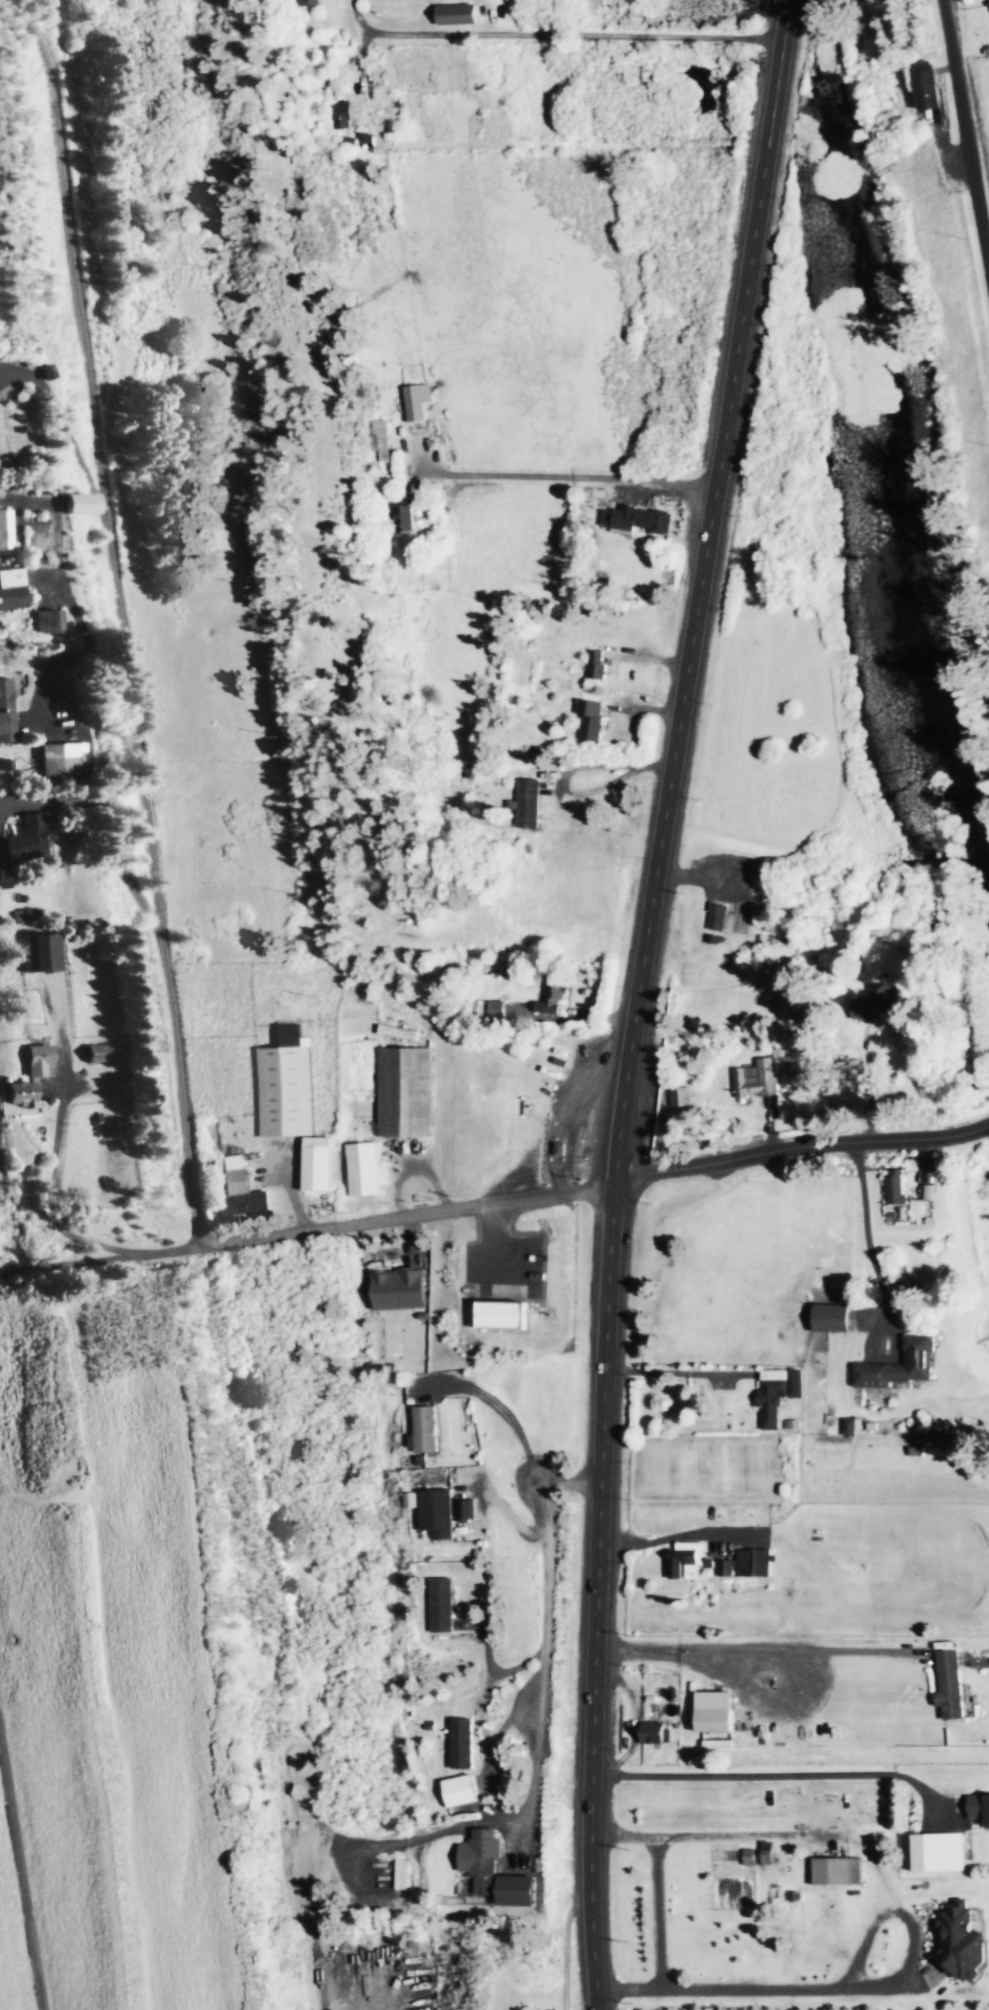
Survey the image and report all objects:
building: (988, 0)
building: (305, 3)
building: (457, 14)
road: (559, 40)
building: (922, 86)
building: (341, 116)
building: (367, 140)
road: (963, 144)
building: (417, 401)
building: (378, 439)
road: (579, 480)
building: (72, 502)
building: (401, 518)
building: (640, 521)
building: (5, 529)
building: (11, 590)
road: (123, 618)
building: (44, 621)
road: (80, 631)
building: (597, 666)
building: (6, 711)
building: (592, 720)
building: (59, 758)
building: (530, 804)
building: (29, 837)
building: (718, 918)
building: (741, 918)
building: (41, 952)
building: (555, 995)
road: (640, 1000)
building: (874, 1004)
building: (94, 1058)
building: (36, 1060)
building: (758, 1079)
building: (284, 1086)
building: (405, 1091)
building: (682, 1097)
building: (15, 1099)
road: (820, 1146)
building: (316, 1168)
building: (364, 1169)
road: (635, 1179)
building: (897, 1187)
building: (238, 1188)
road: (410, 1218)
road: (871, 1246)
road: (100, 1261)
road: (0, 1273)
building: (400, 1289)
building: (508, 1293)
building: (831, 1318)
building: (900, 1365)
building: (778, 1393)
building: (850, 1426)
building: (427, 1428)
building: (469, 1510)
building: (435, 1511)
building: (748, 1564)
building: (684, 1566)
building: (443, 1605)
road: (550, 1635)
building: (950, 1684)
building: (713, 1720)
building: (655, 1736)
building: (463, 1743)
building: (461, 1791)
building: (979, 1808)
road: (24, 1847)
building: (939, 1852)
building: (830, 1871)
building: (498, 1878)
building: (795, 1910)
building: (959, 1941)
road: (385, 2000)

